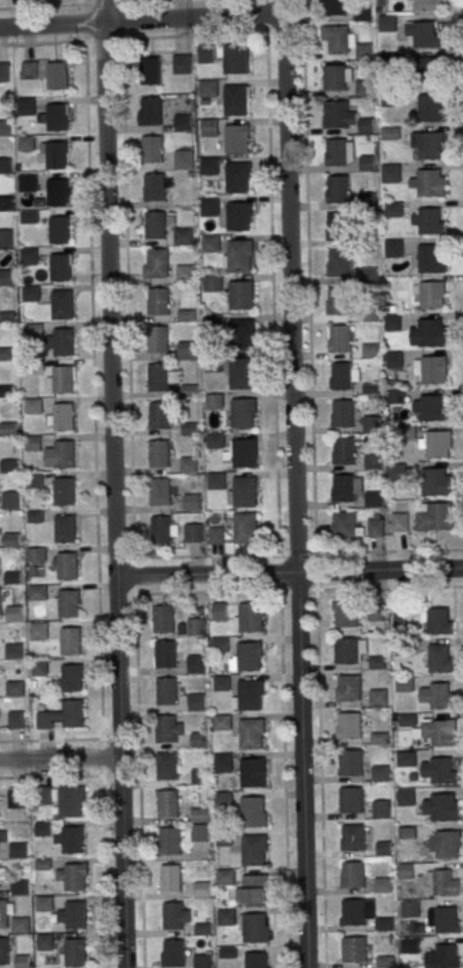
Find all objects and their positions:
road: (119, 1)
road: (83, 2)
building: (425, 5)
building: (333, 7)
road: (267, 15)
building: (362, 15)
road: (142, 19)
road: (84, 22)
building: (387, 23)
building: (424, 33)
road: (176, 36)
building: (338, 39)
road: (462, 41)
building: (365, 50)
building: (205, 54)
building: (236, 58)
building: (181, 64)
building: (29, 70)
building: (148, 70)
building: (428, 70)
building: (4, 72)
building: (56, 75)
building: (338, 77)
building: (365, 87)
building: (207, 88)
building: (235, 99)
building: (25, 106)
building: (431, 108)
building: (150, 111)
building: (336, 114)
building: (56, 117)
building: (181, 122)
building: (365, 125)
building: (5, 127)
building: (208, 127)
building: (391, 133)
building: (236, 139)
building: (428, 144)
building: (151, 148)
building: (337, 152)
building: (55, 155)
building: (183, 159)
building: (367, 163)
building: (5, 165)
building: (208, 166)
building: (391, 173)
building: (237, 177)
building: (27, 183)
building: (429, 183)
building: (153, 187)
building: (338, 189)
building: (56, 192)
building: (5, 203)
building: (208, 205)
building: (394, 209)
building: (237, 216)
building: (429, 220)
building: (155, 225)
building: (338, 226)
building: (59, 230)
building: (183, 236)
building: (6, 238)
building: (210, 243)
building: (394, 248)
building: (239, 255)
building: (29, 256)
building: (429, 257)
building: (157, 263)
building: (340, 263)
building: (60, 267)
building: (185, 274)
building: (7, 277)
building: (212, 283)
building: (30, 293)
road: (309, 294)
building: (241, 295)
building: (433, 295)
building: (158, 301)
building: (338, 301)
building: (62, 304)
building: (393, 322)
road: (273, 329)
building: (242, 333)
building: (429, 333)
building: (340, 338)
building: (157, 339)
building: (63, 342)
building: (186, 350)
building: (372, 350)
building: (5, 353)
building: (395, 359)
building: (431, 369)
building: (241, 373)
building: (342, 376)
building: (158, 377)
building: (62, 379)
building: (372, 388)
building: (396, 396)
building: (215, 400)
building: (32, 405)
building: (432, 409)
building: (243, 413)
building: (343, 413)
building: (159, 415)
building: (63, 416)
building: (373, 423)
building: (8, 428)
road: (94, 440)
building: (215, 440)
building: (33, 443)
building: (438, 444)
building: (344, 450)
building: (245, 452)
building: (159, 453)
building: (64, 454)
building: (373, 461)
building: (189, 464)
building: (9, 465)
road: (130, 466)
building: (398, 471)
building: (34, 480)
building: (216, 480)
building: (433, 481)
road: (296, 483)
road: (112, 484)
building: (344, 488)
building: (64, 491)
building: (159, 491)
building: (245, 491)
building: (374, 499)
building: (10, 500)
building: (192, 502)
building: (33, 516)
building: (435, 516)
building: (400, 522)
building: (345, 525)
building: (246, 527)
building: (65, 528)
building: (376, 528)
building: (161, 529)
building: (193, 533)
building: (216, 534)
road: (370, 550)
building: (35, 555)
building: (67, 566)
road: (381, 569)
road: (206, 574)
building: (13, 577)
building: (37, 592)
building: (68, 603)
building: (0, 606)
building: (220, 611)
building: (377, 612)
building: (13, 613)
building: (347, 613)
building: (248, 617)
building: (163, 619)
building: (437, 621)
building: (196, 626)
building: (38, 630)
building: (70, 641)
building: (220, 644)
building: (405, 647)
building: (14, 650)
building: (347, 650)
building: (164, 654)
building: (246, 657)
building: (438, 658)
building: (196, 663)
building: (39, 667)
building: (71, 678)
building: (221, 683)
building: (405, 684)
building: (349, 687)
building: (14, 688)
building: (165, 691)
building: (249, 694)
building: (436, 695)
building: (379, 698)
building: (196, 701)
road: (319, 705)
building: (72, 713)
building: (15, 719)
building: (222, 722)
building: (349, 725)
building: (165, 729)
building: (439, 731)
building: (251, 733)
building: (198, 739)
road: (59, 758)
building: (406, 759)
building: (222, 762)
building: (350, 762)
building: (167, 765)
building: (439, 769)
building: (252, 771)
building: (380, 773)
building: (199, 776)
road: (284, 779)
building: (406, 797)
building: (16, 798)
building: (71, 800)
building: (224, 800)
building: (350, 800)
building: (167, 803)
building: (440, 806)
building: (381, 809)
building: (252, 811)
building: (199, 824)
building: (42, 828)
building: (2, 834)
building: (353, 837)
building: (72, 839)
building: (169, 840)
building: (448, 844)
building: (18, 850)
building: (254, 850)
road: (104, 852)
building: (42, 864)
building: (406, 870)
building: (353, 875)
building: (2, 876)
building: (74, 877)
building: (225, 877)
building: (171, 878)
building: (442, 883)
building: (383, 885)
building: (19, 887)
building: (201, 889)
building: (253, 889)
building: (44, 903)
building: (410, 909)
building: (353, 912)
building: (3, 913)
building: (76, 914)
building: (173, 916)
building: (226, 916)
building: (448, 920)
building: (385, 923)
building: (254, 927)
building: (45, 941)
building: (411, 945)
building: (354, 949)
building: (4, 950)
building: (75, 952)
building: (174, 953)
building: (444, 956)
building: (203, 960)
building: (256, 960)
building: (22, 961)

